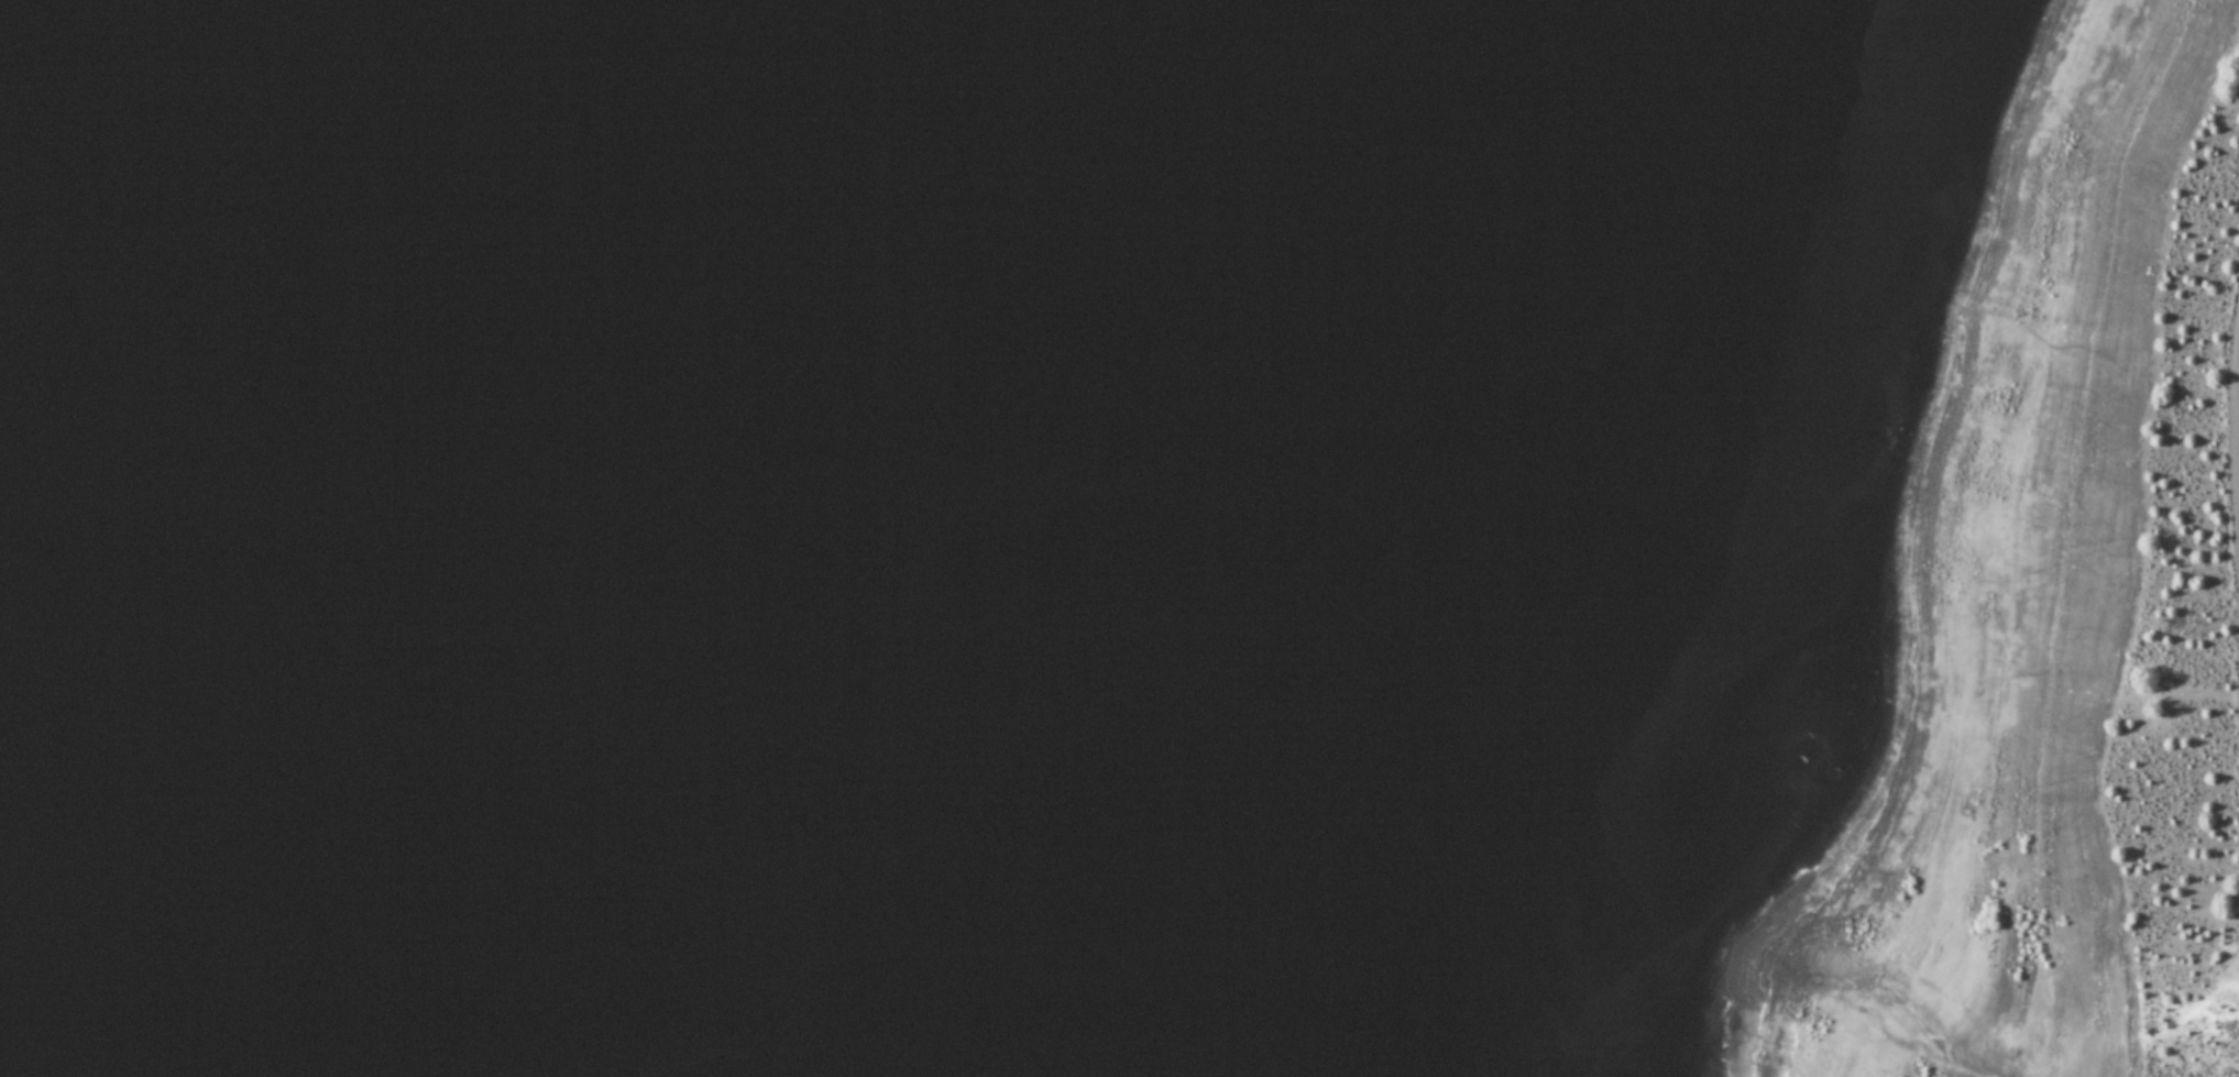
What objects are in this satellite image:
road: (2237, 403)

